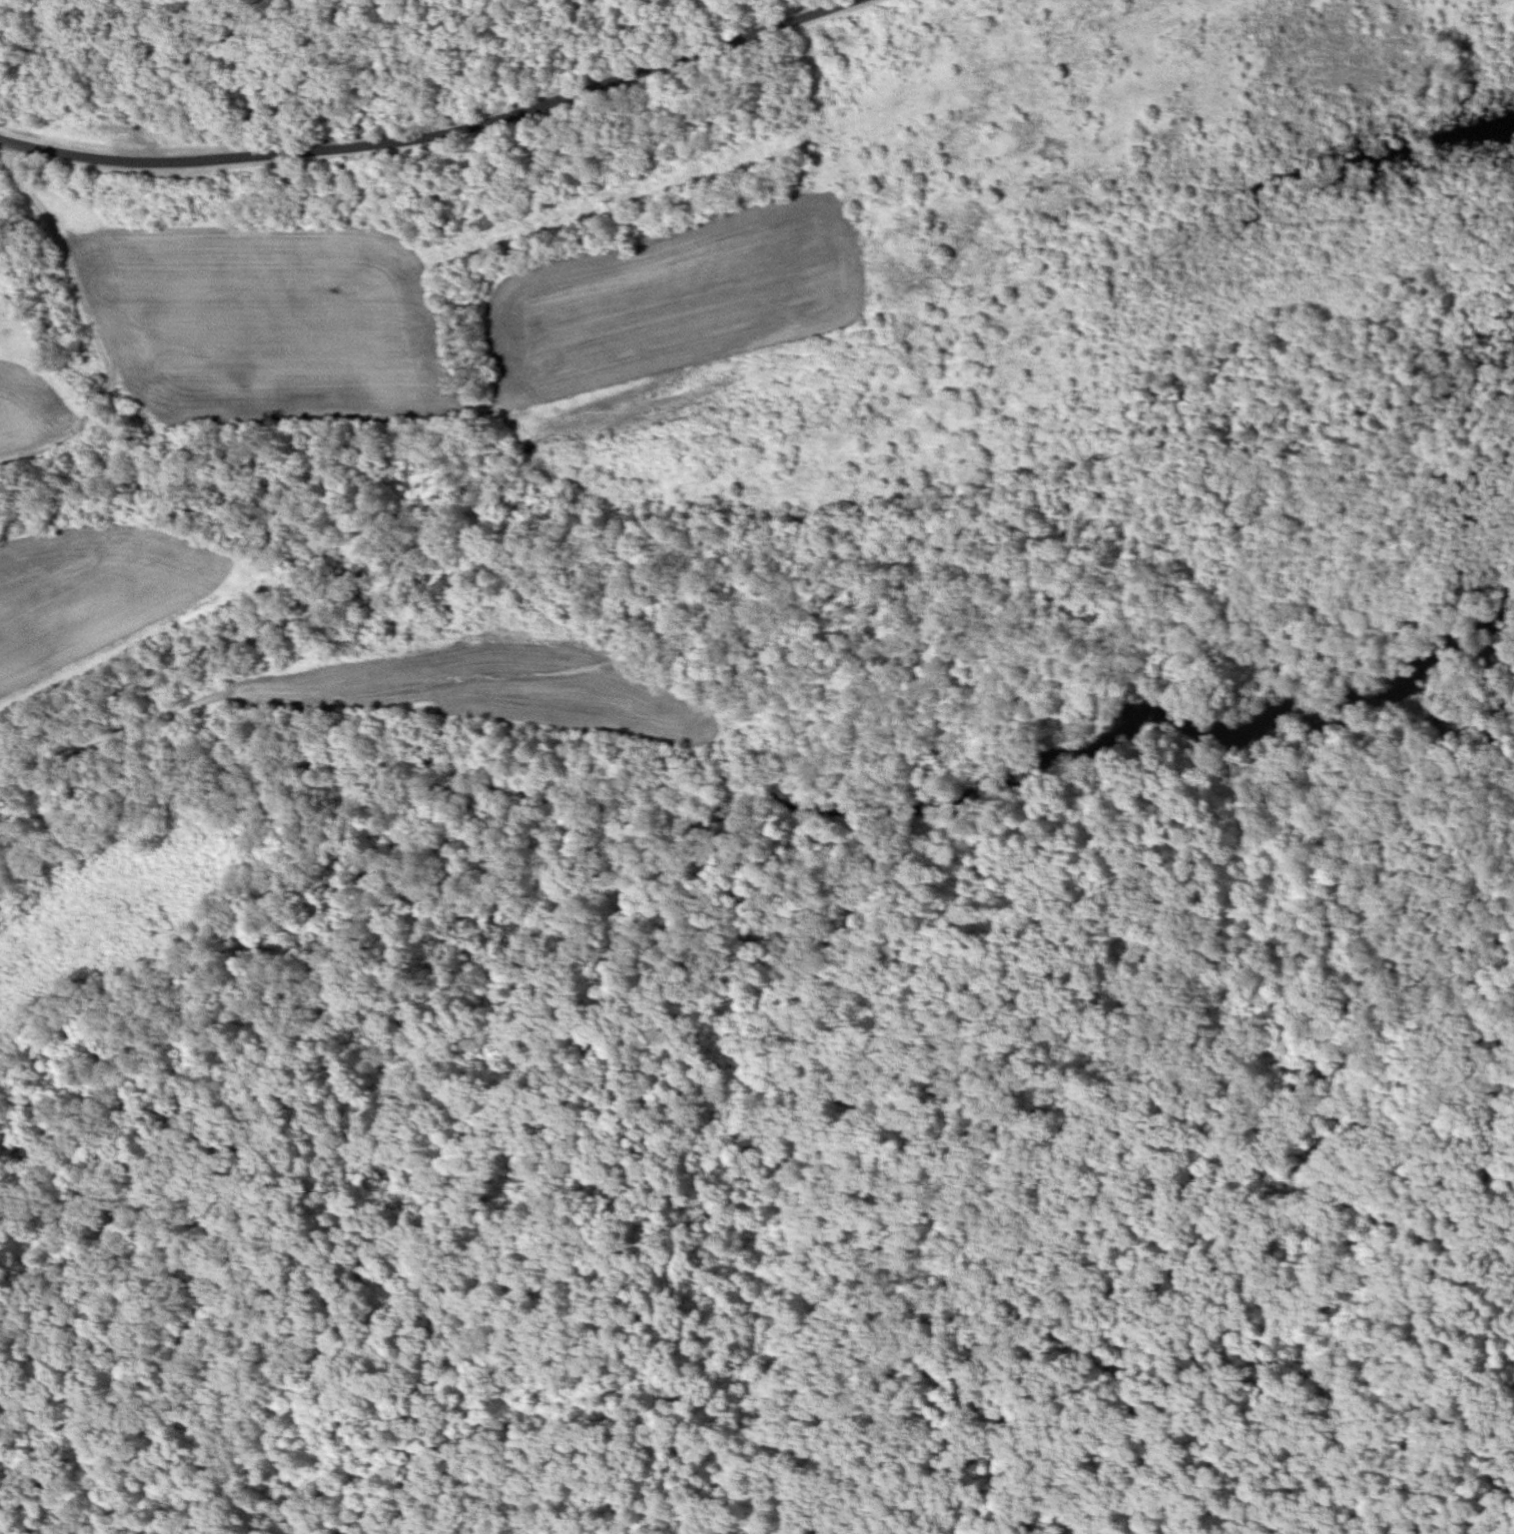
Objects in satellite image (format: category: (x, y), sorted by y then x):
road: (441, 136)
road: (94, 327)

